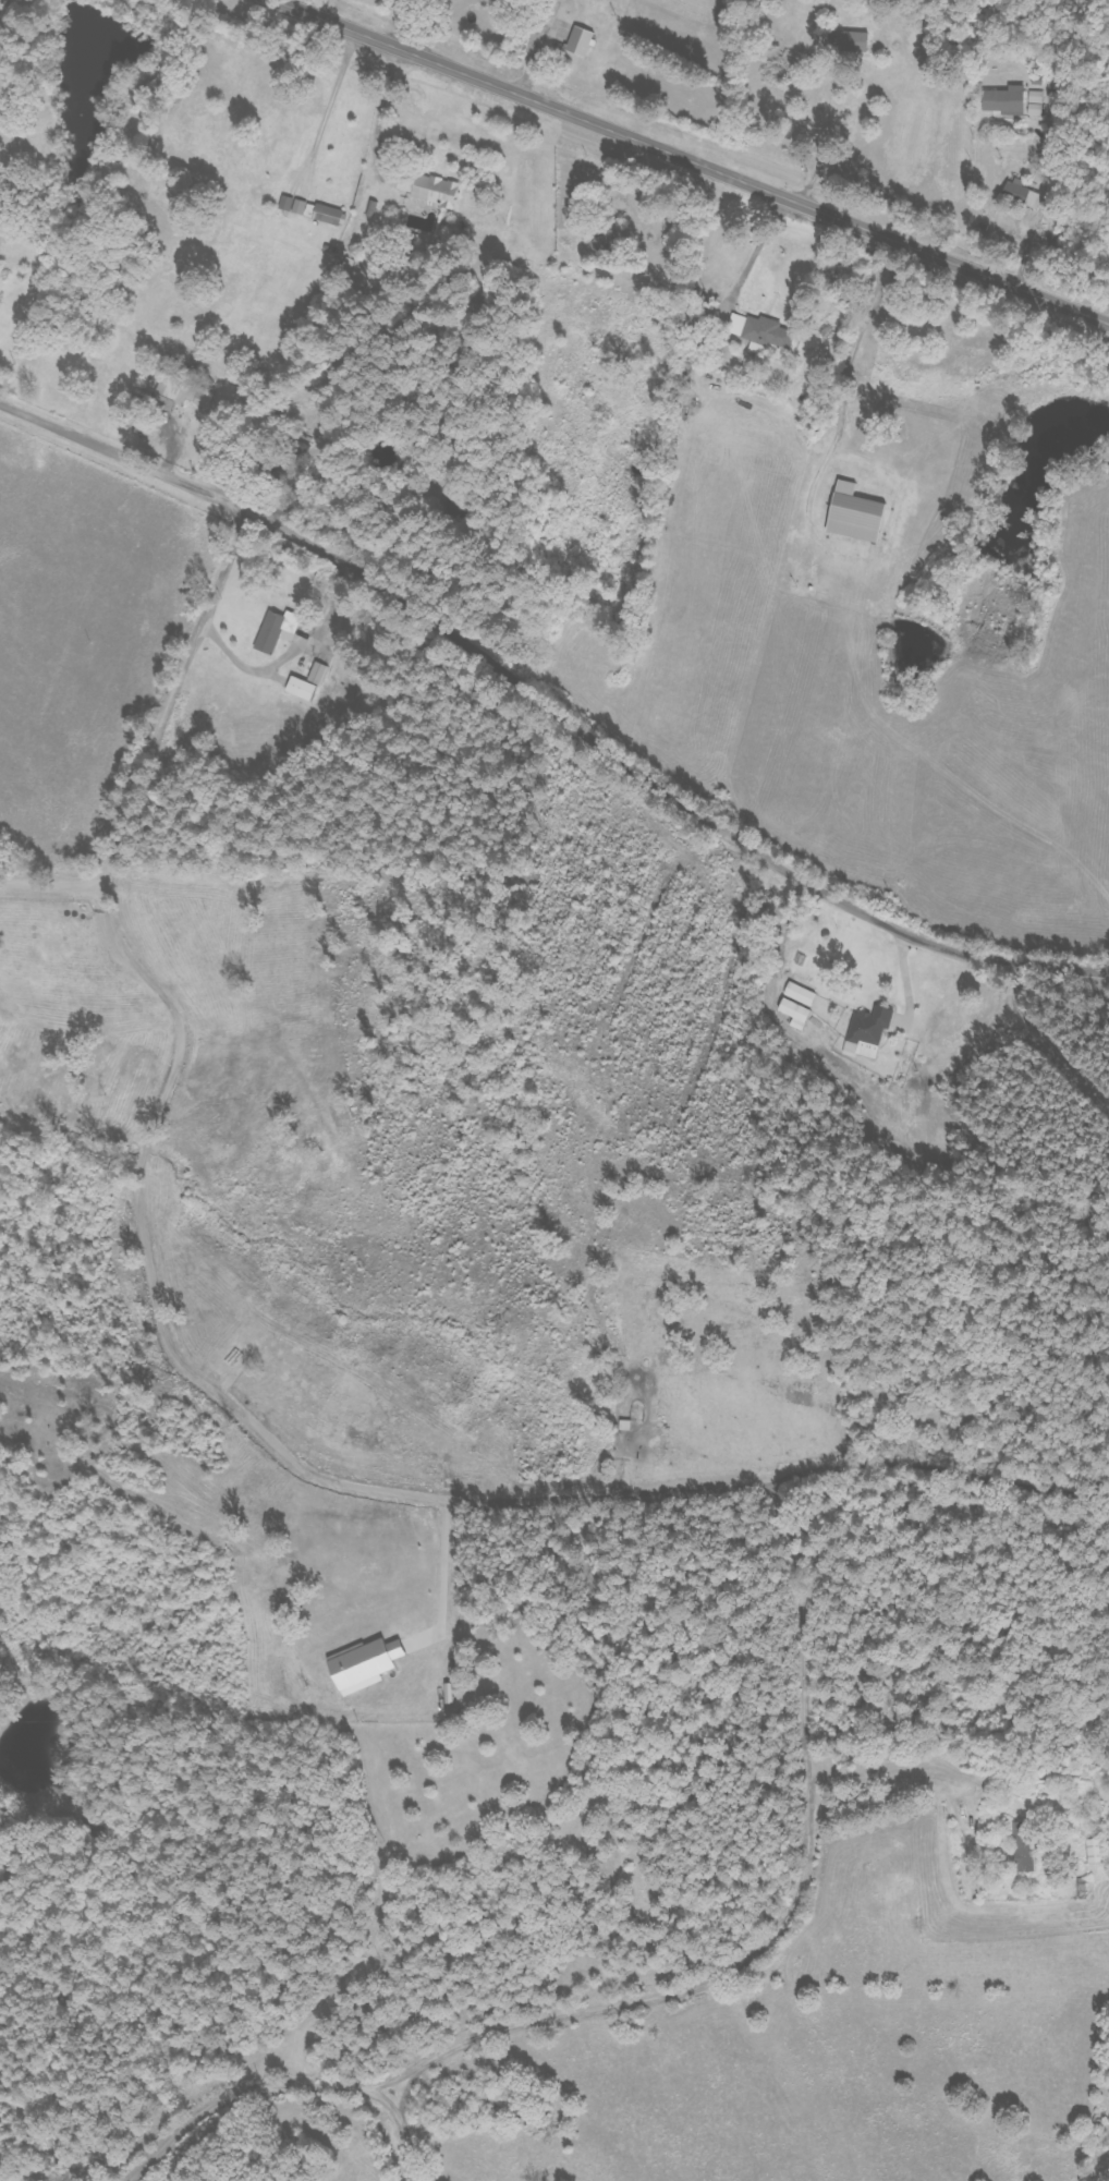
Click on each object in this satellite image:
building: (577, 41)
building: (850, 43)
building: (1003, 101)
building: (1035, 104)
road: (684, 163)
building: (430, 190)
building: (1020, 194)
building: (312, 211)
building: (767, 332)
building: (185, 392)
building: (852, 513)
building: (275, 630)
building: (317, 674)
building: (300, 688)
road: (547, 710)
road: (147, 736)
building: (800, 994)
building: (794, 1013)
building: (866, 1028)
building: (362, 1665)
building: (451, 1694)
building: (1023, 1846)
building: (1094, 1852)
road: (283, 2081)

